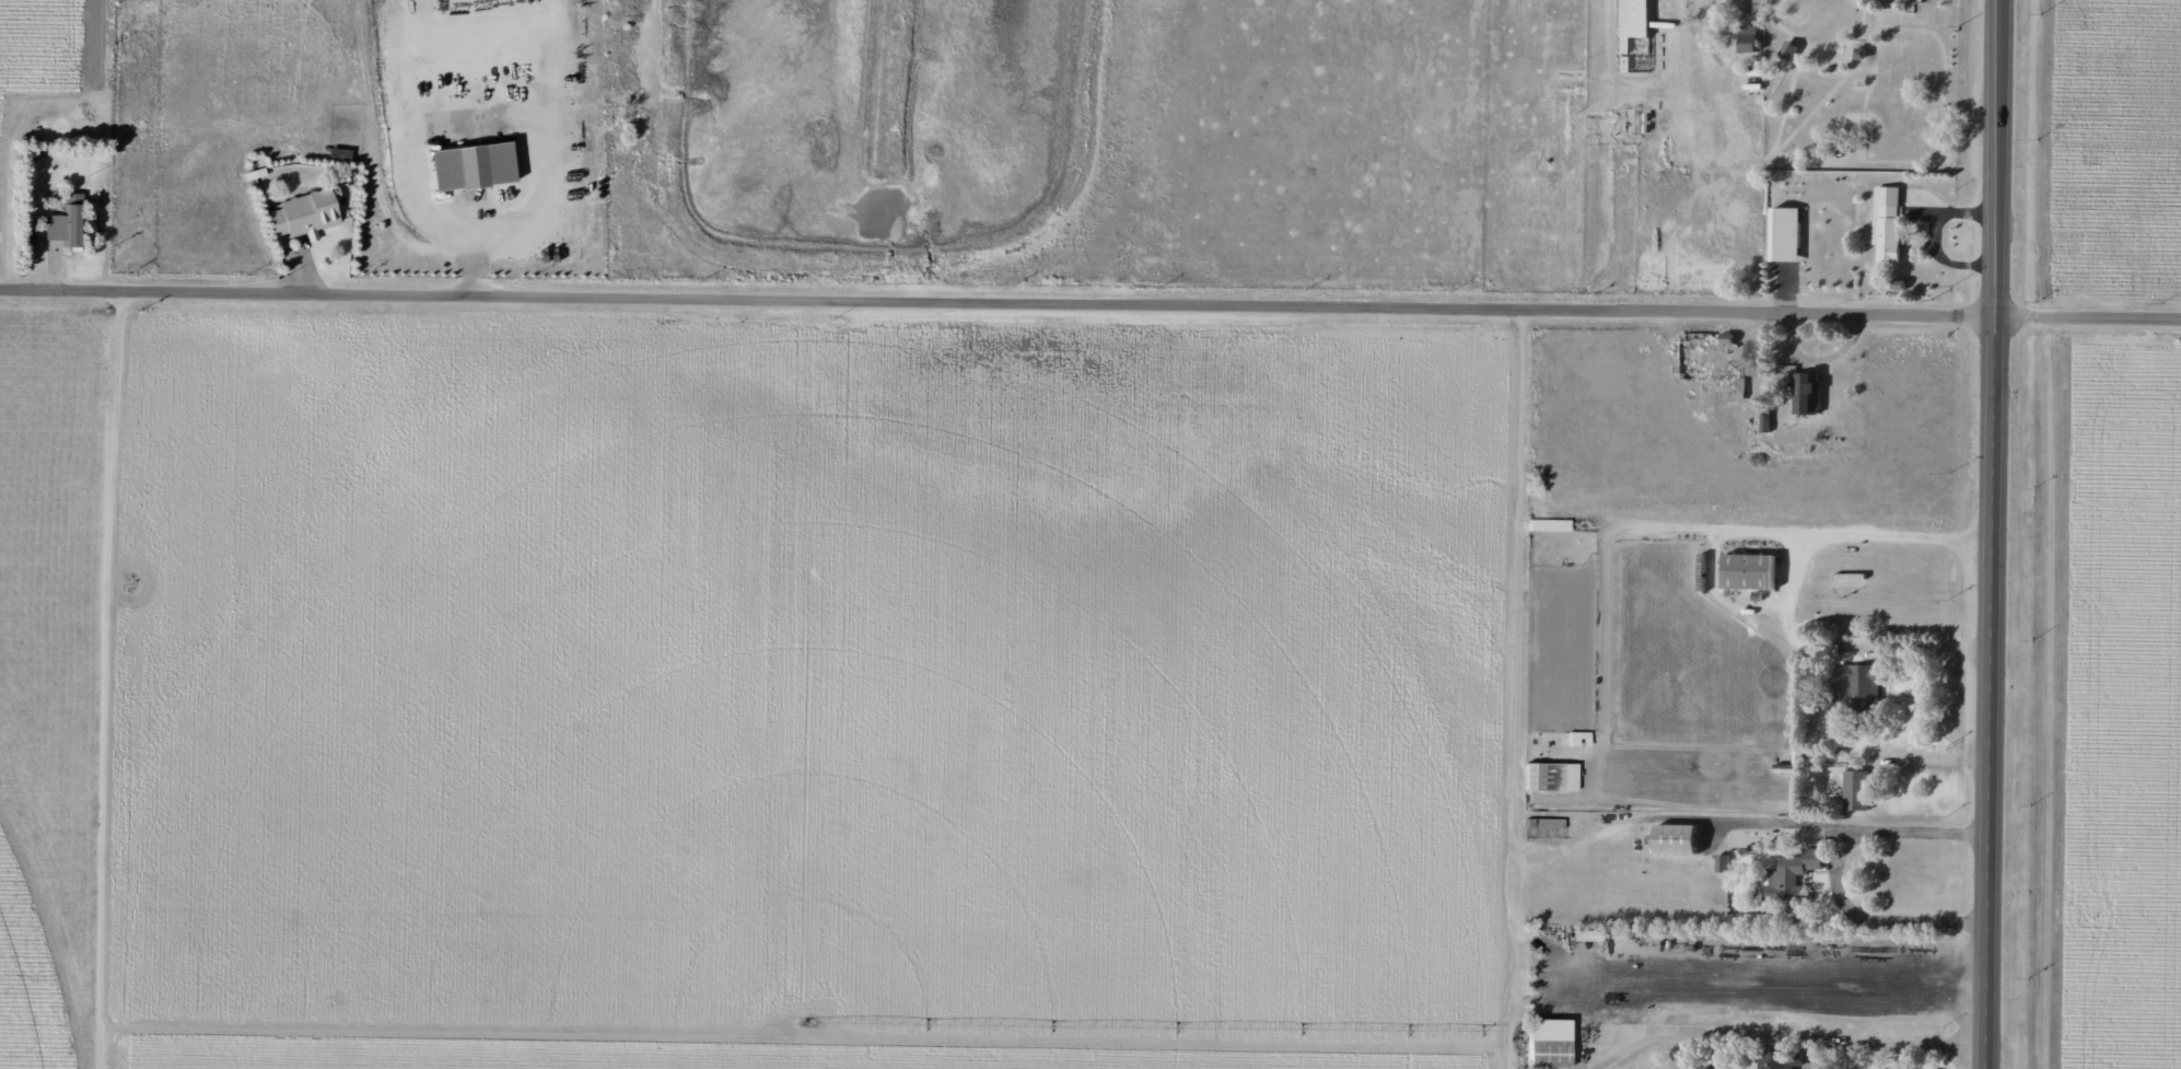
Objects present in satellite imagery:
building: (1630, 26)
building: (1745, 38)
building: (1786, 50)
building: (465, 165)
building: (301, 213)
building: (1885, 223)
building: (58, 224)
building: (1782, 234)
road: (1001, 305)
road: (2092, 316)
building: (1736, 392)
building: (1805, 393)
building: (1763, 423)
building: (1547, 524)
road: (83, 534)
road: (1999, 534)
building: (1747, 571)
building: (1858, 685)
road: (1932, 758)
building: (1549, 776)
building: (1855, 791)
road: (1853, 834)
building: (1671, 839)
building: (1721, 862)
building: (1786, 880)
road: (1878, 921)
road: (1778, 1036)
building: (1543, 1044)
building: (1777, 1060)

